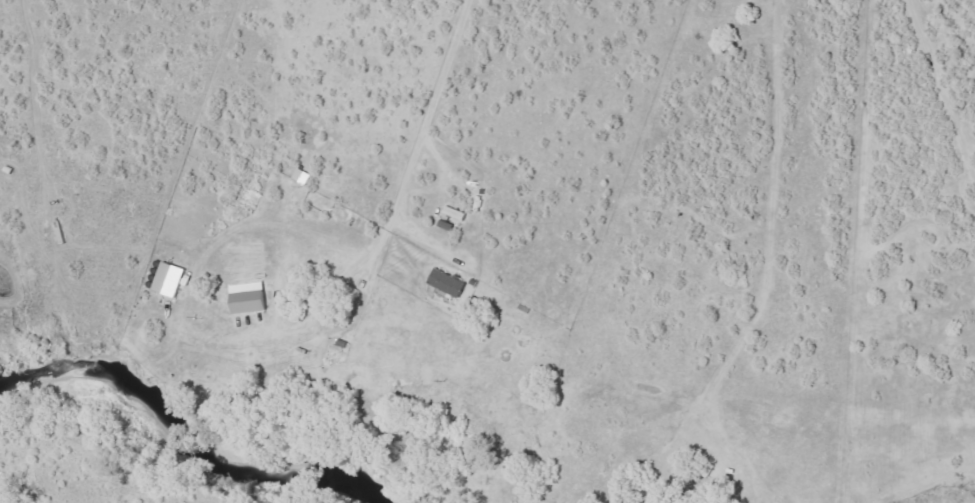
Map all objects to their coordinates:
road: (939, 94)
road: (424, 124)
building: (171, 279)
building: (450, 282)
building: (251, 301)
road: (321, 303)
river: (186, 438)

